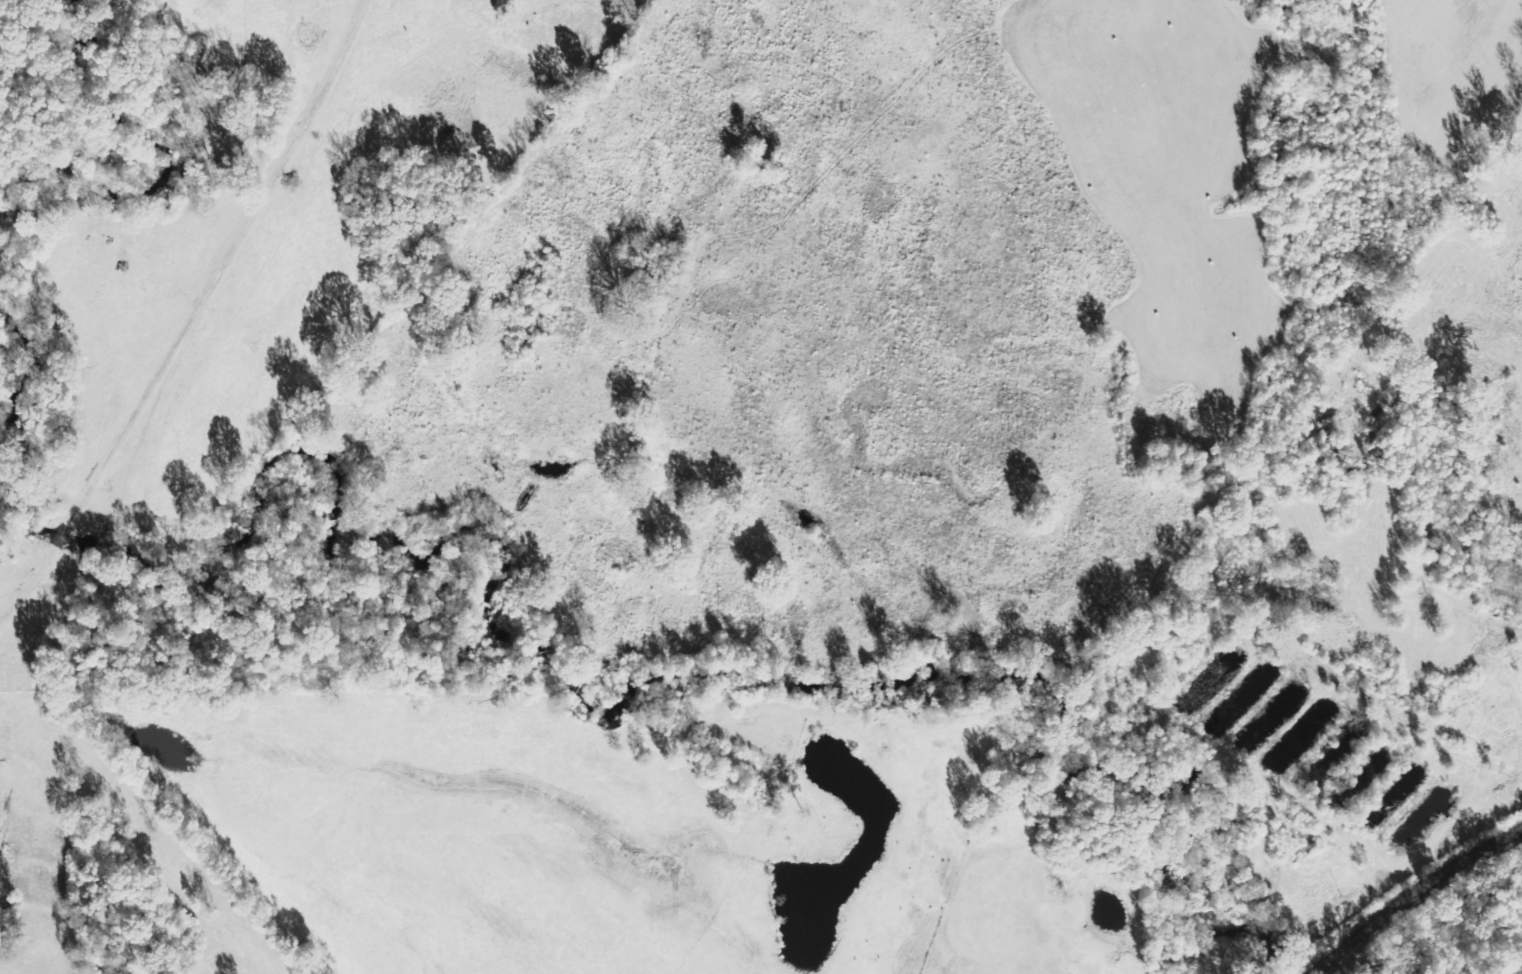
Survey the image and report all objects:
road: (1386, 275)
road: (1441, 919)

